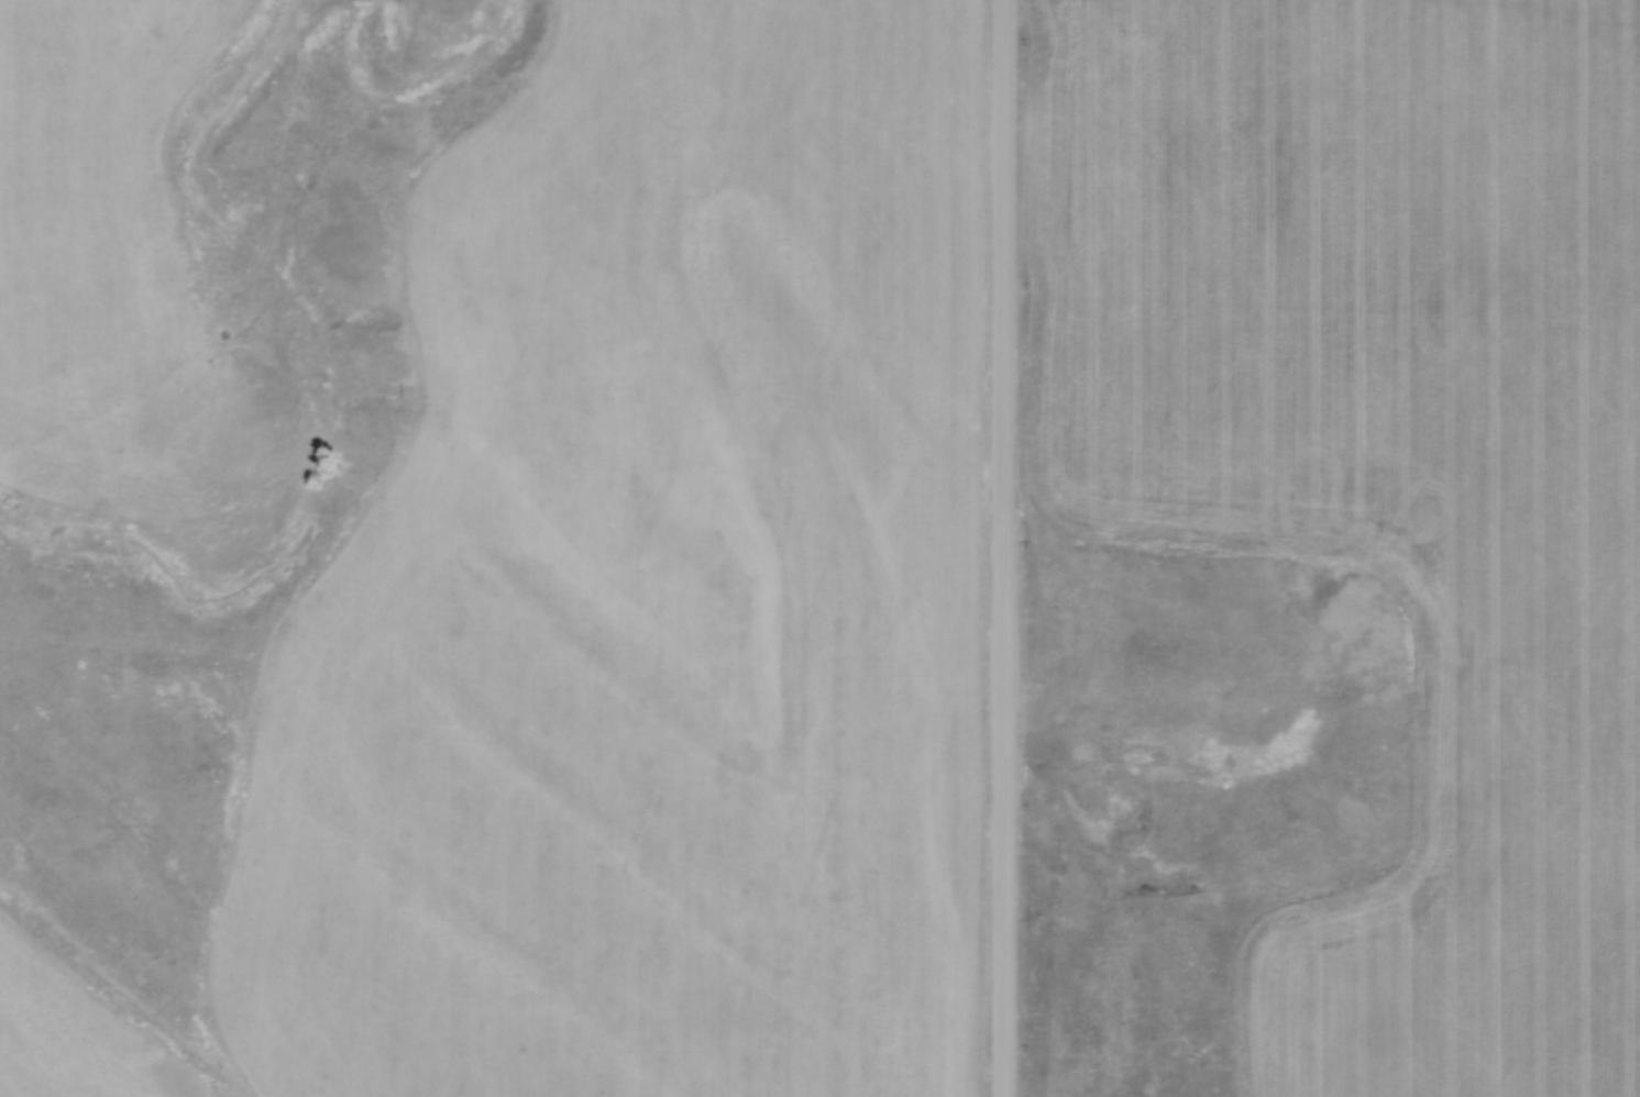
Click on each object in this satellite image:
crop: (1380, 463)
road: (1003, 547)

